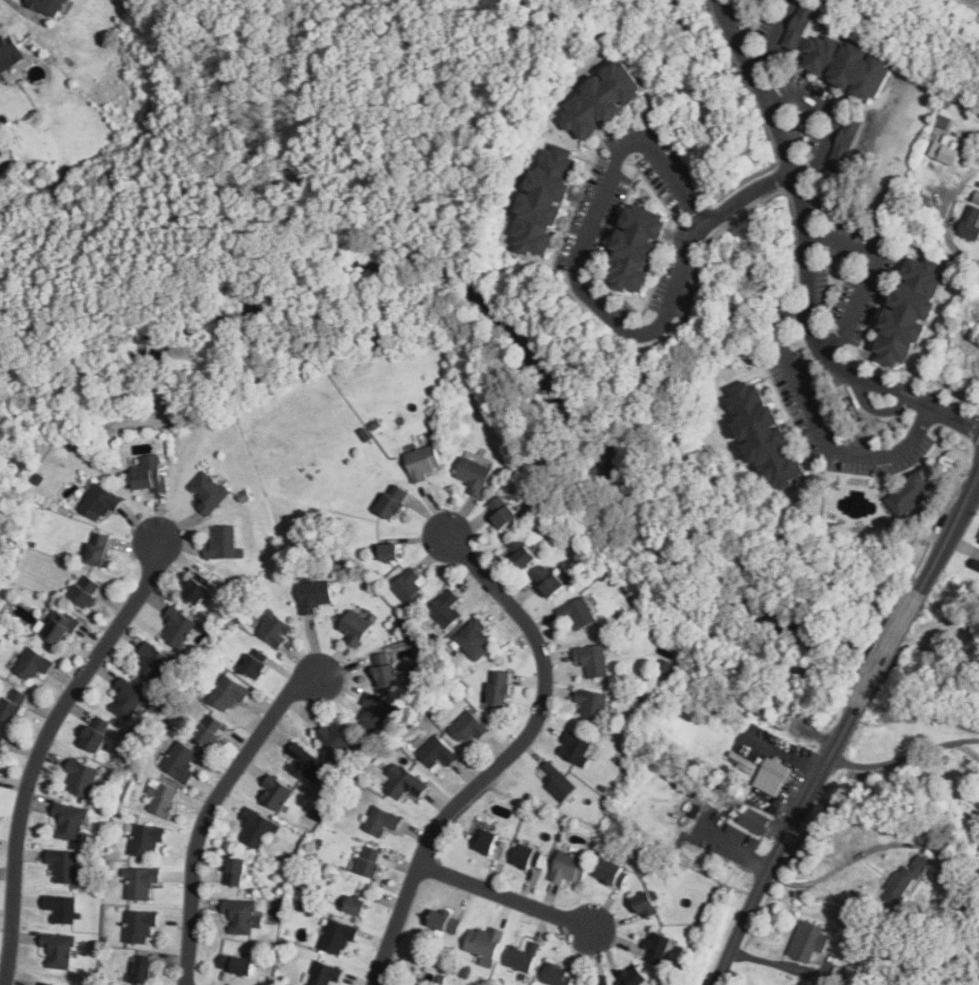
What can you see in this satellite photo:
building: (48, 6)
building: (798, 25)
road: (770, 35)
building: (9, 54)
building: (847, 65)
building: (601, 99)
road: (831, 111)
building: (844, 141)
building: (1, 150)
building: (945, 151)
building: (975, 197)
building: (544, 201)
building: (918, 202)
building: (970, 223)
road: (946, 237)
building: (636, 247)
road: (803, 260)
road: (865, 276)
road: (590, 300)
building: (908, 311)
road: (816, 427)
building: (763, 435)
building: (421, 462)
building: (474, 472)
building: (148, 474)
building: (907, 490)
building: (207, 492)
building: (99, 502)
building: (392, 502)
building: (501, 511)
building: (978, 538)
building: (223, 543)
building: (96, 549)
building: (519, 550)
building: (384, 551)
building: (547, 581)
building: (407, 587)
building: (197, 588)
building: (85, 590)
building: (313, 596)
building: (445, 609)
building: (578, 612)
building: (58, 626)
building: (176, 626)
building: (354, 627)
building: (273, 628)
building: (473, 639)
building: (591, 659)
building: (151, 662)
building: (32, 663)
building: (254, 663)
building: (385, 671)
building: (499, 688)
building: (227, 693)
building: (126, 698)
building: (11, 705)
building: (591, 705)
building: (375, 712)
building: (467, 727)
road: (844, 727)
building: (209, 730)
building: (335, 736)
building: (92, 739)
building: (2, 740)
road: (40, 748)
building: (576, 748)
building: (436, 752)
road: (507, 757)
road: (903, 757)
building: (180, 761)
building: (303, 762)
building: (771, 775)
building: (80, 778)
building: (403, 782)
building: (557, 782)
building: (275, 792)
building: (161, 797)
building: (977, 803)
road: (207, 812)
building: (380, 820)
building: (752, 820)
building: (69, 821)
building: (254, 827)
building: (144, 839)
building: (487, 841)
building: (527, 856)
building: (369, 861)
building: (63, 865)
building: (567, 867)
building: (234, 871)
road: (836, 871)
building: (612, 873)
building: (970, 873)
building: (951, 877)
building: (140, 881)
building: (906, 882)
road: (504, 897)
building: (645, 903)
building: (354, 905)
building: (61, 907)
building: (241, 915)
building: (443, 920)
building: (139, 925)
building: (337, 935)
building: (483, 943)
building: (808, 944)
building: (657, 948)
building: (58, 950)
building: (520, 957)
building: (235, 964)
road: (776, 964)
building: (140, 970)
building: (324, 974)
building: (555, 975)
building: (839, 975)
building: (632, 977)
building: (46, 983)
building: (830, 984)

